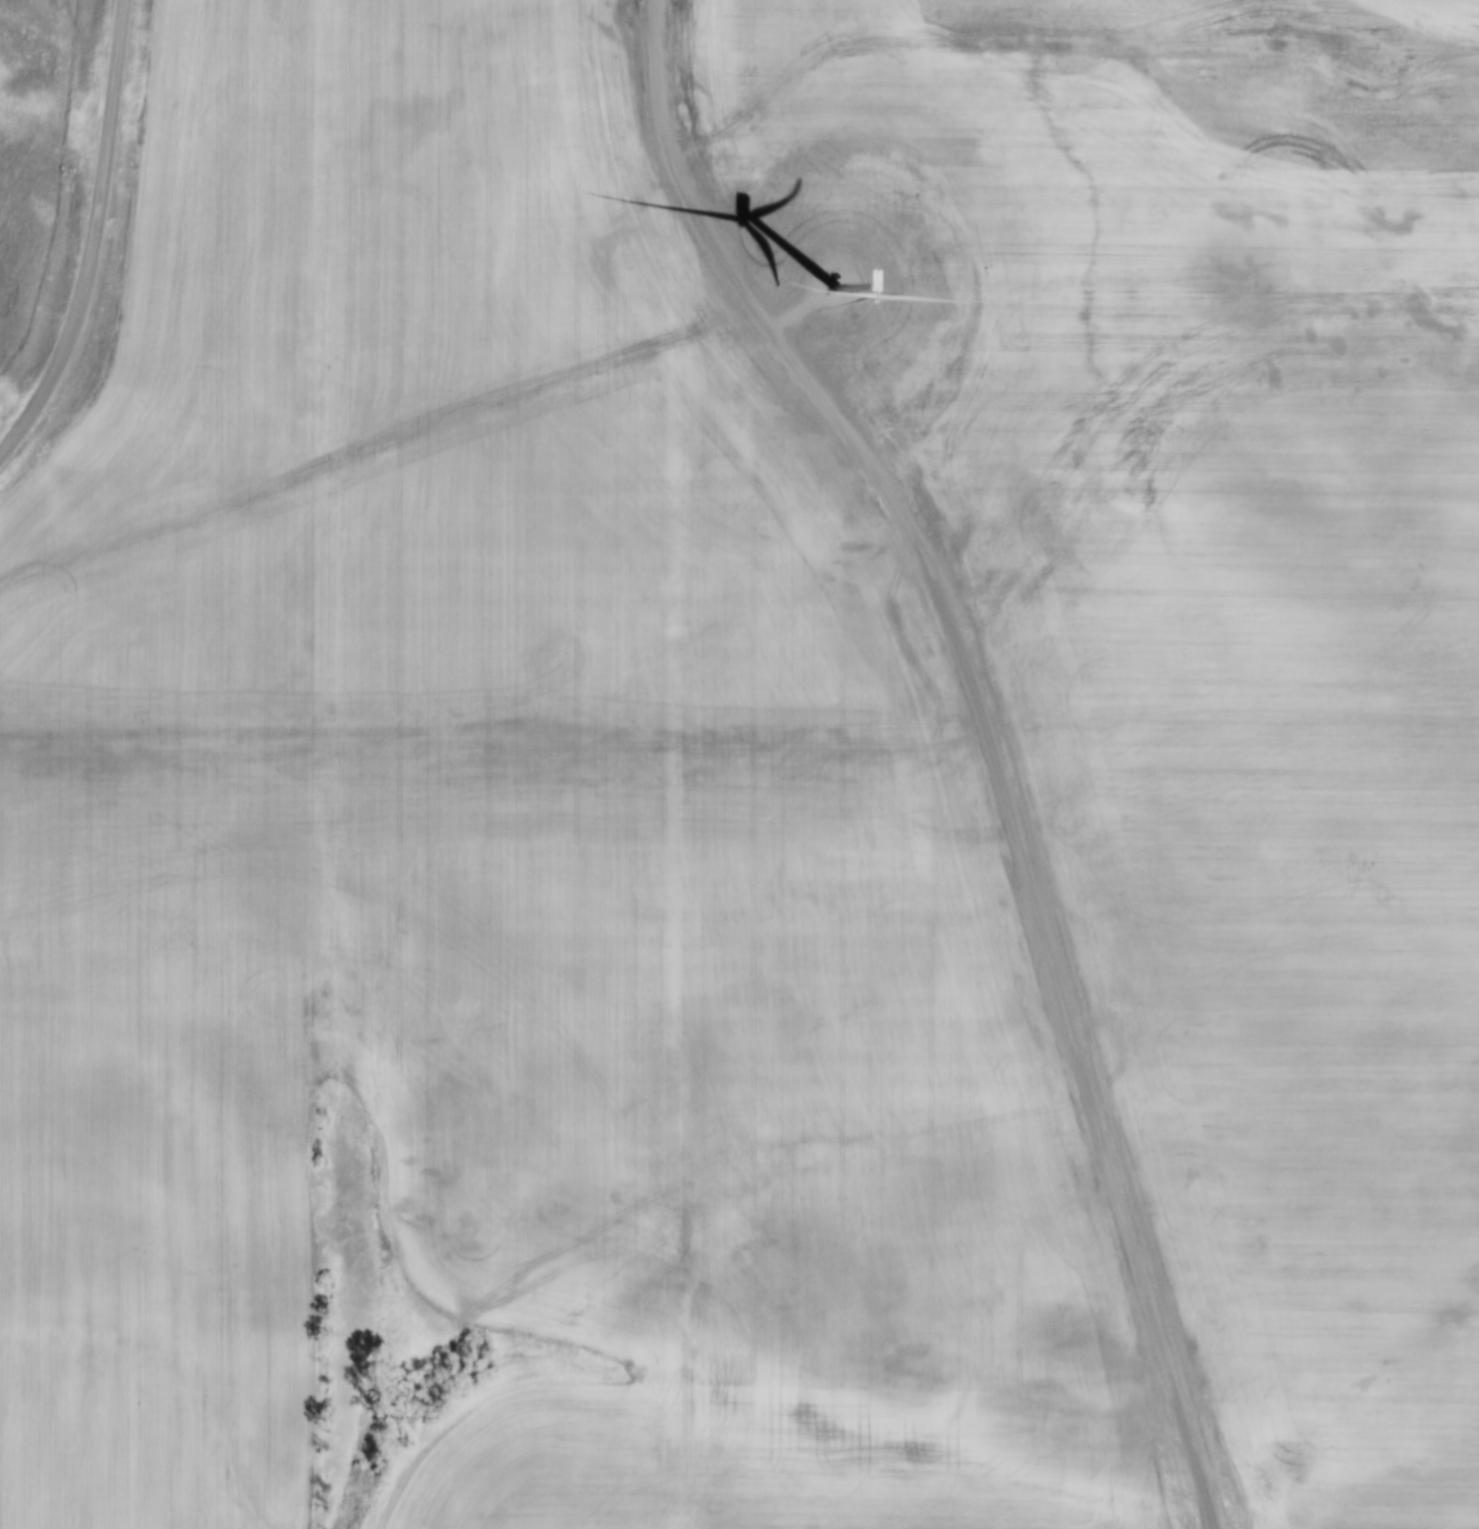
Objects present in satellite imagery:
road: (91, 235)
wind turbine: (833, 272)
road: (996, 733)

